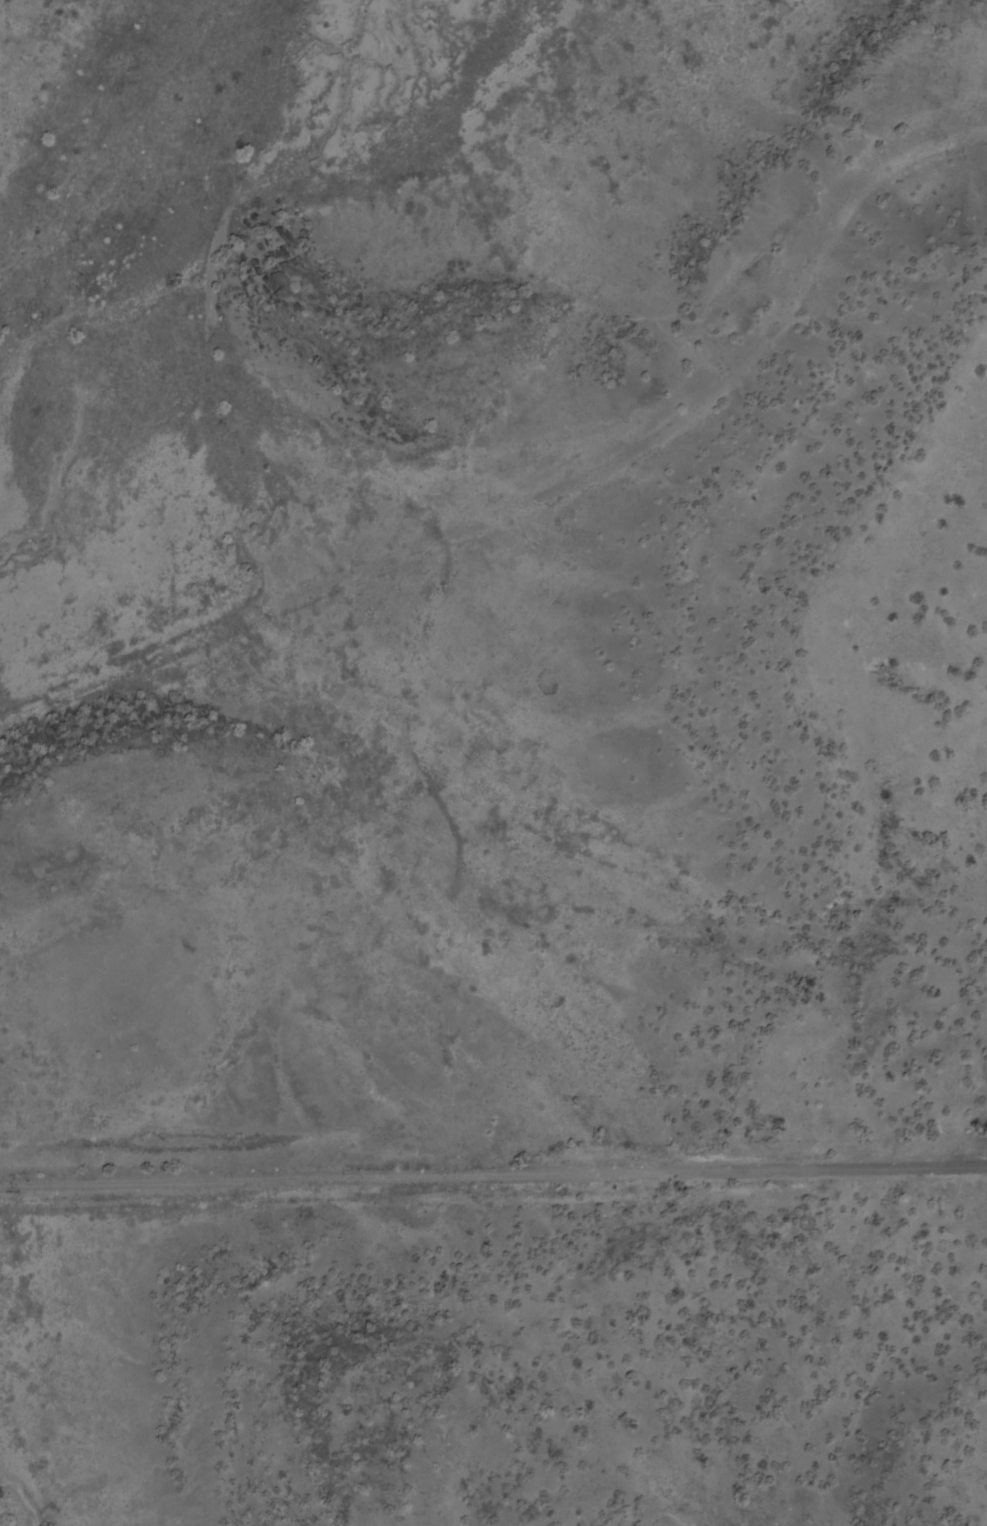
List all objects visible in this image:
road: (493, 1177)

